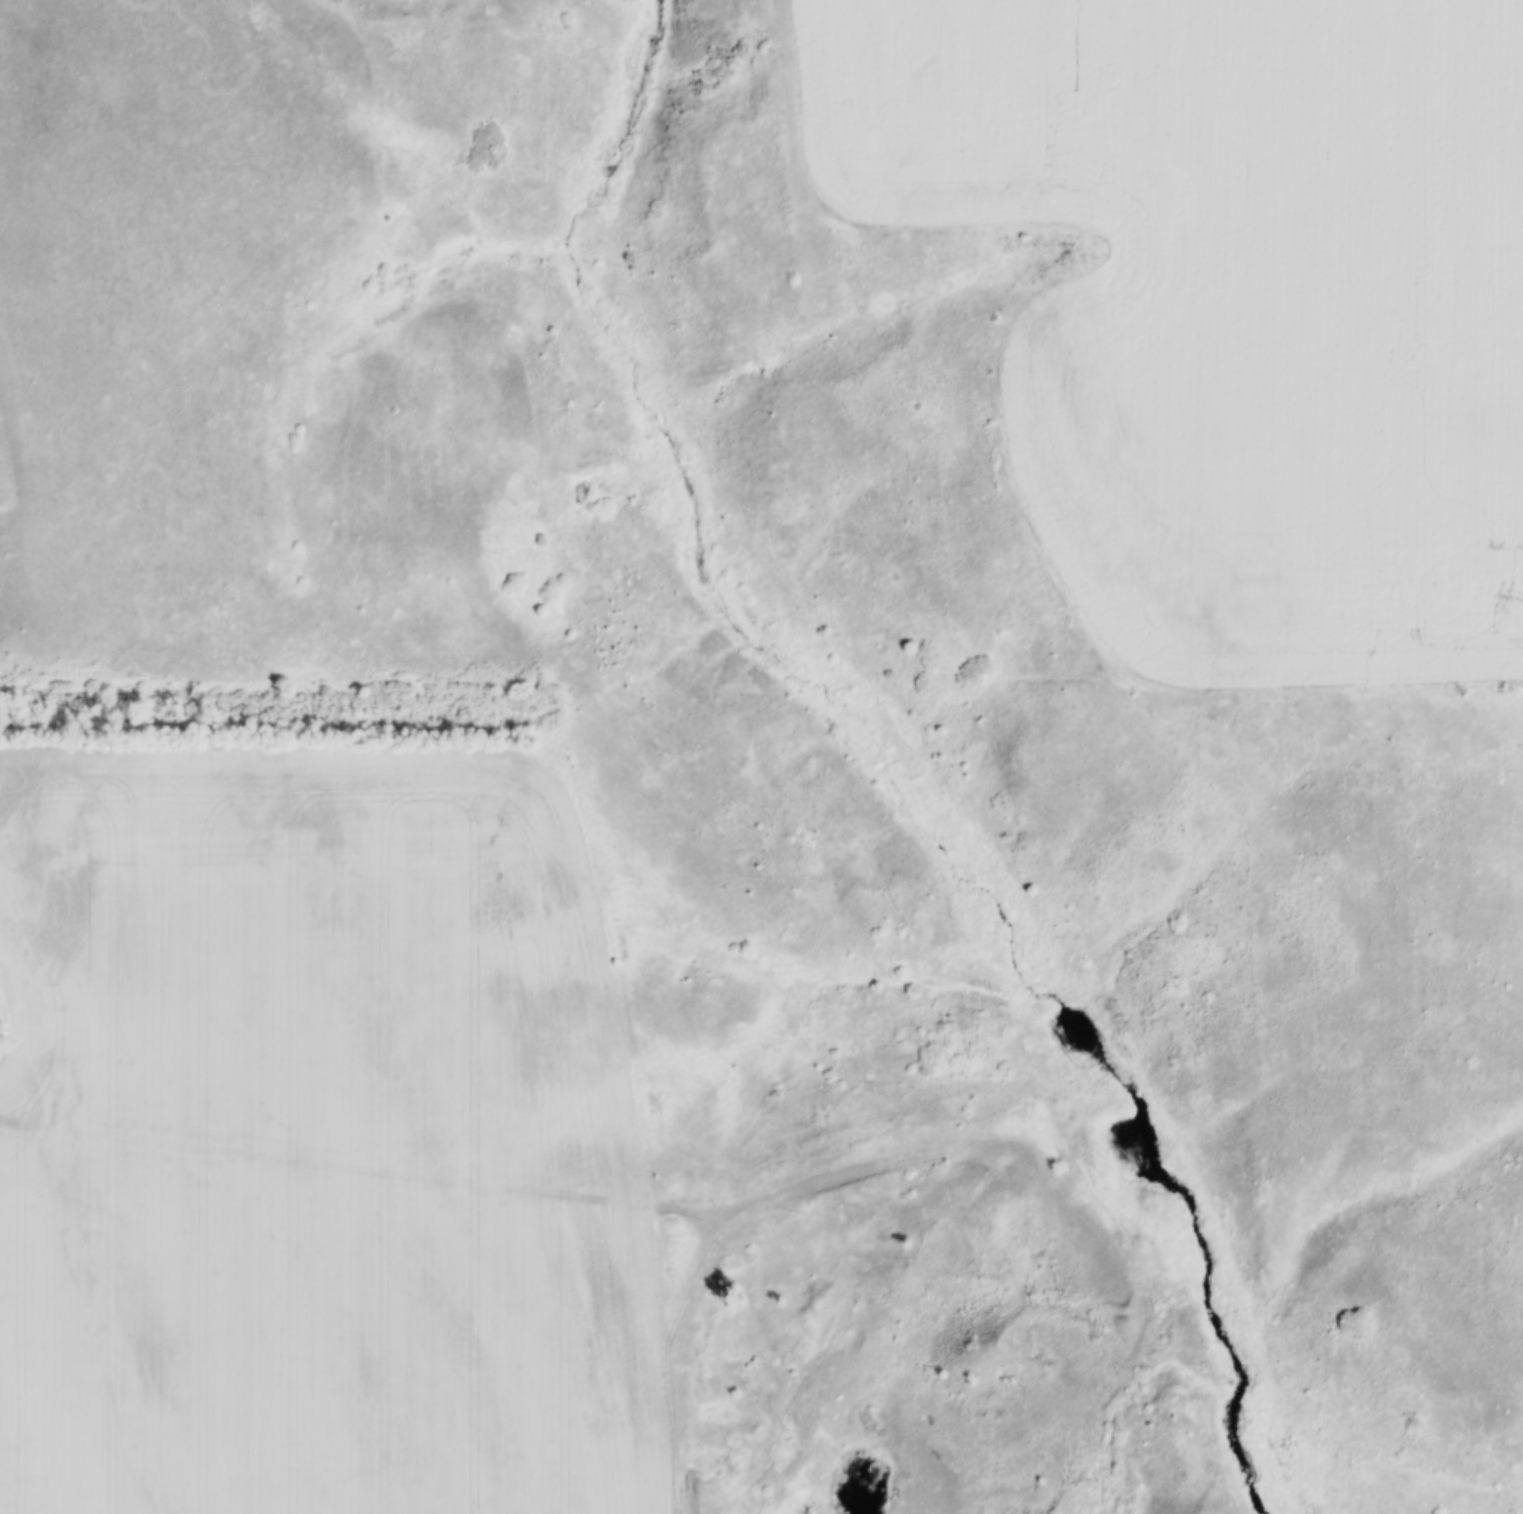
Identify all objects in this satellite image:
road: (923, 1146)
quarry: (936, 1347)

